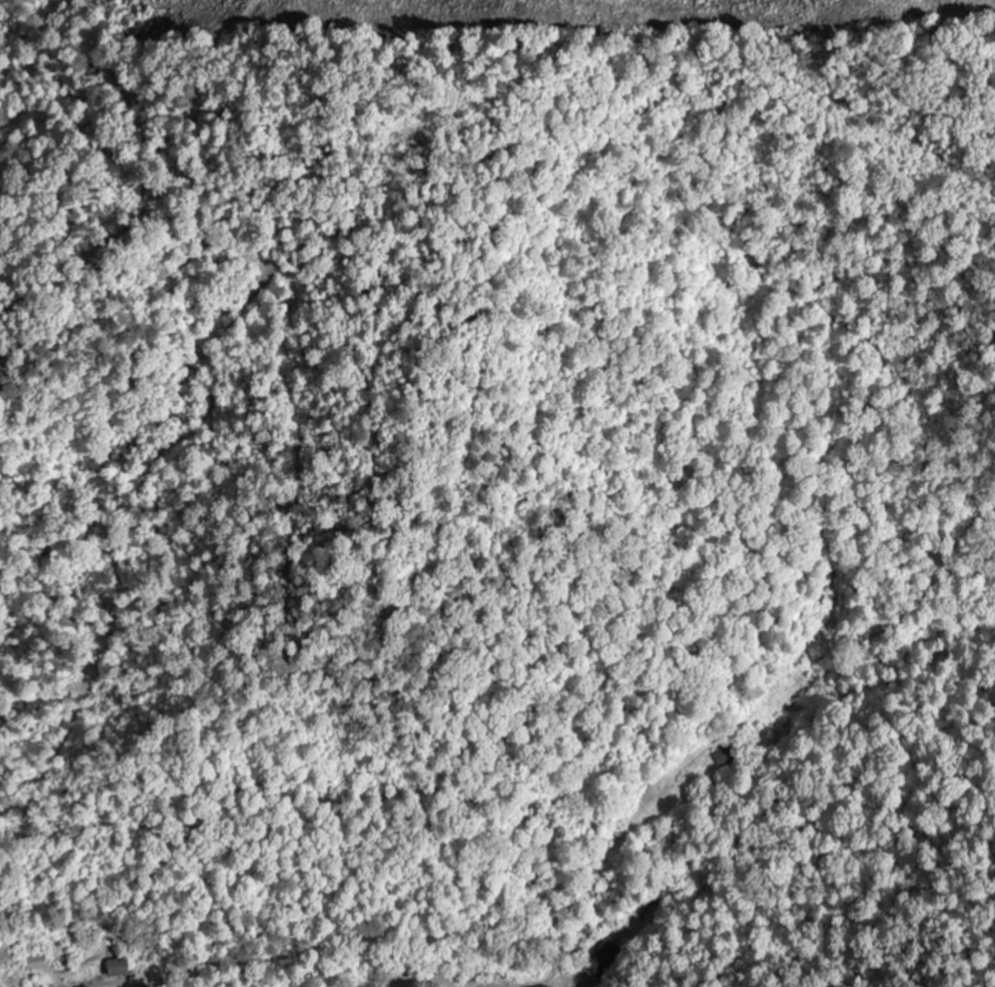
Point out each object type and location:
road: (14, 37)
building: (724, 756)
building: (605, 960)
building: (118, 967)
building: (548, 986)

